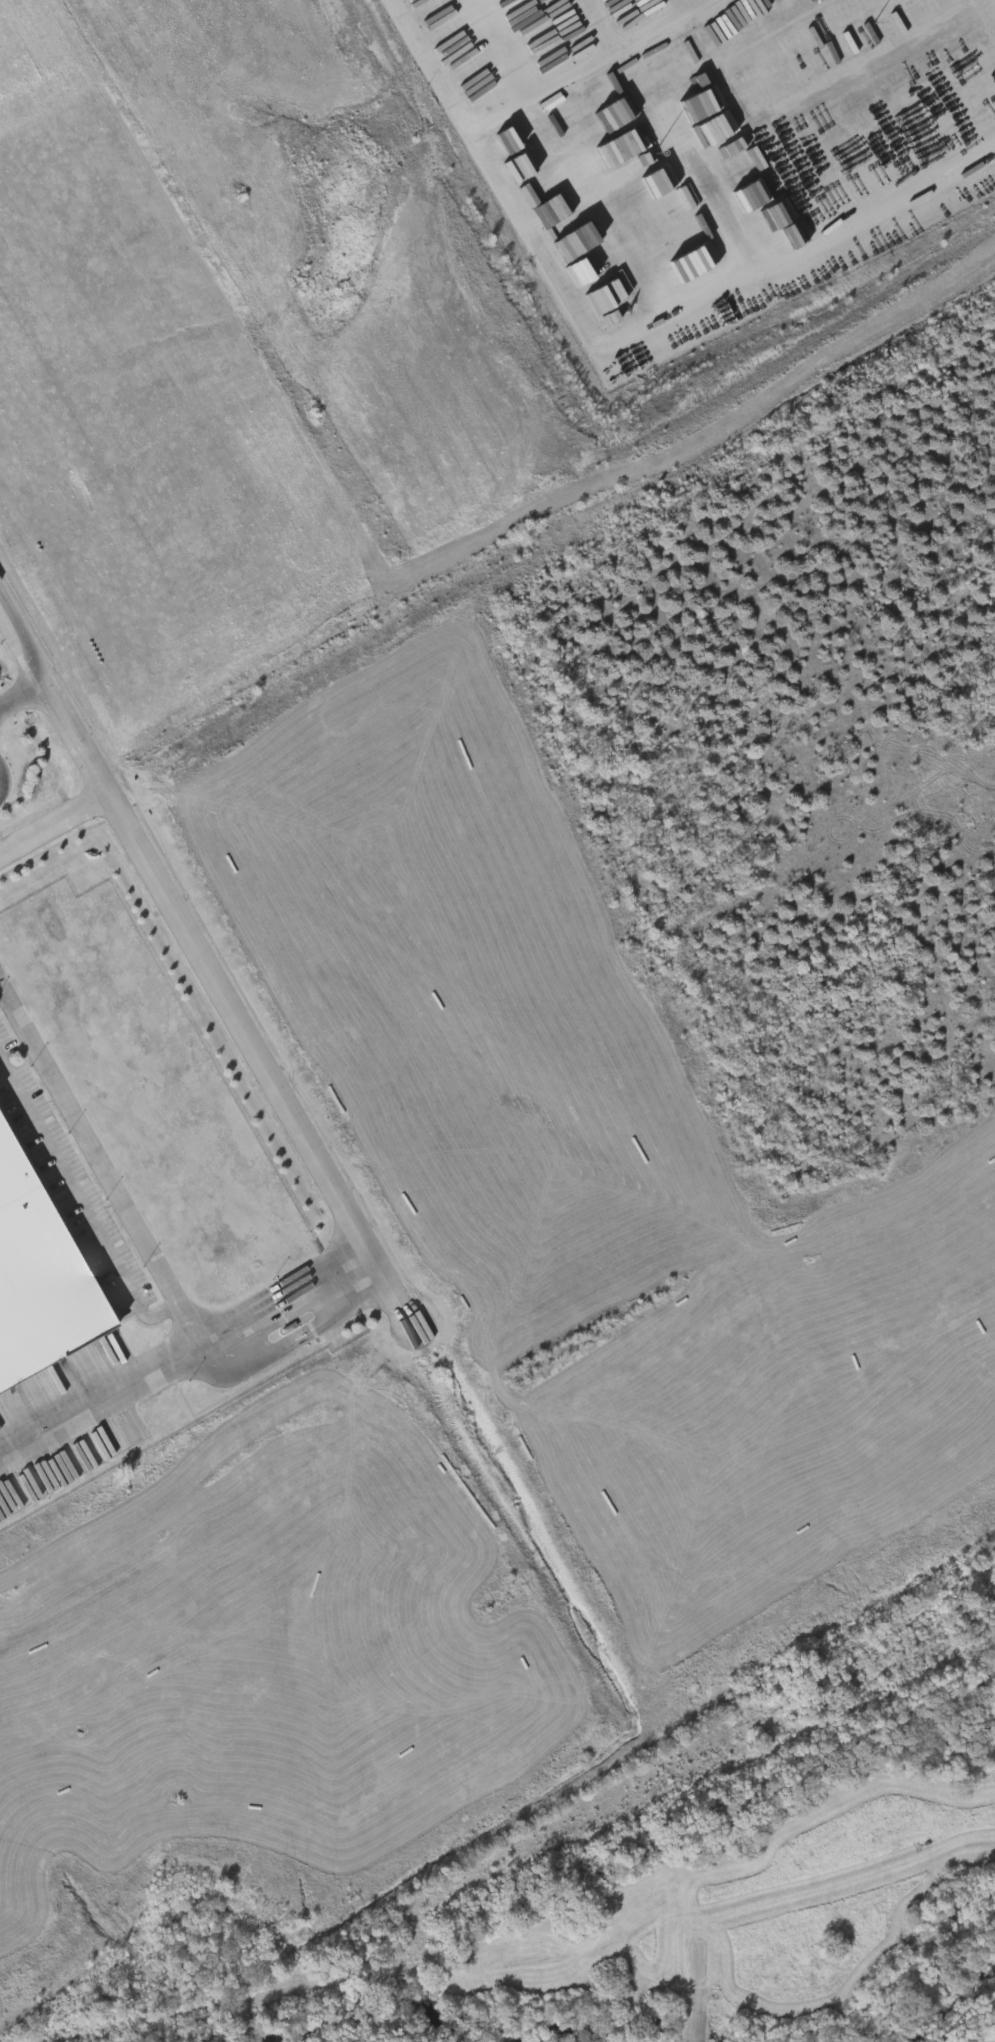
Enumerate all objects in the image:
road: (522, 97)
road: (684, 313)
road: (20, 692)
road: (52, 820)
road: (205, 967)
road: (101, 1163)
road: (82, 1204)
building: (40, 1272)
road: (287, 1298)
road: (101, 1397)
road: (851, 1909)
road: (704, 1993)

